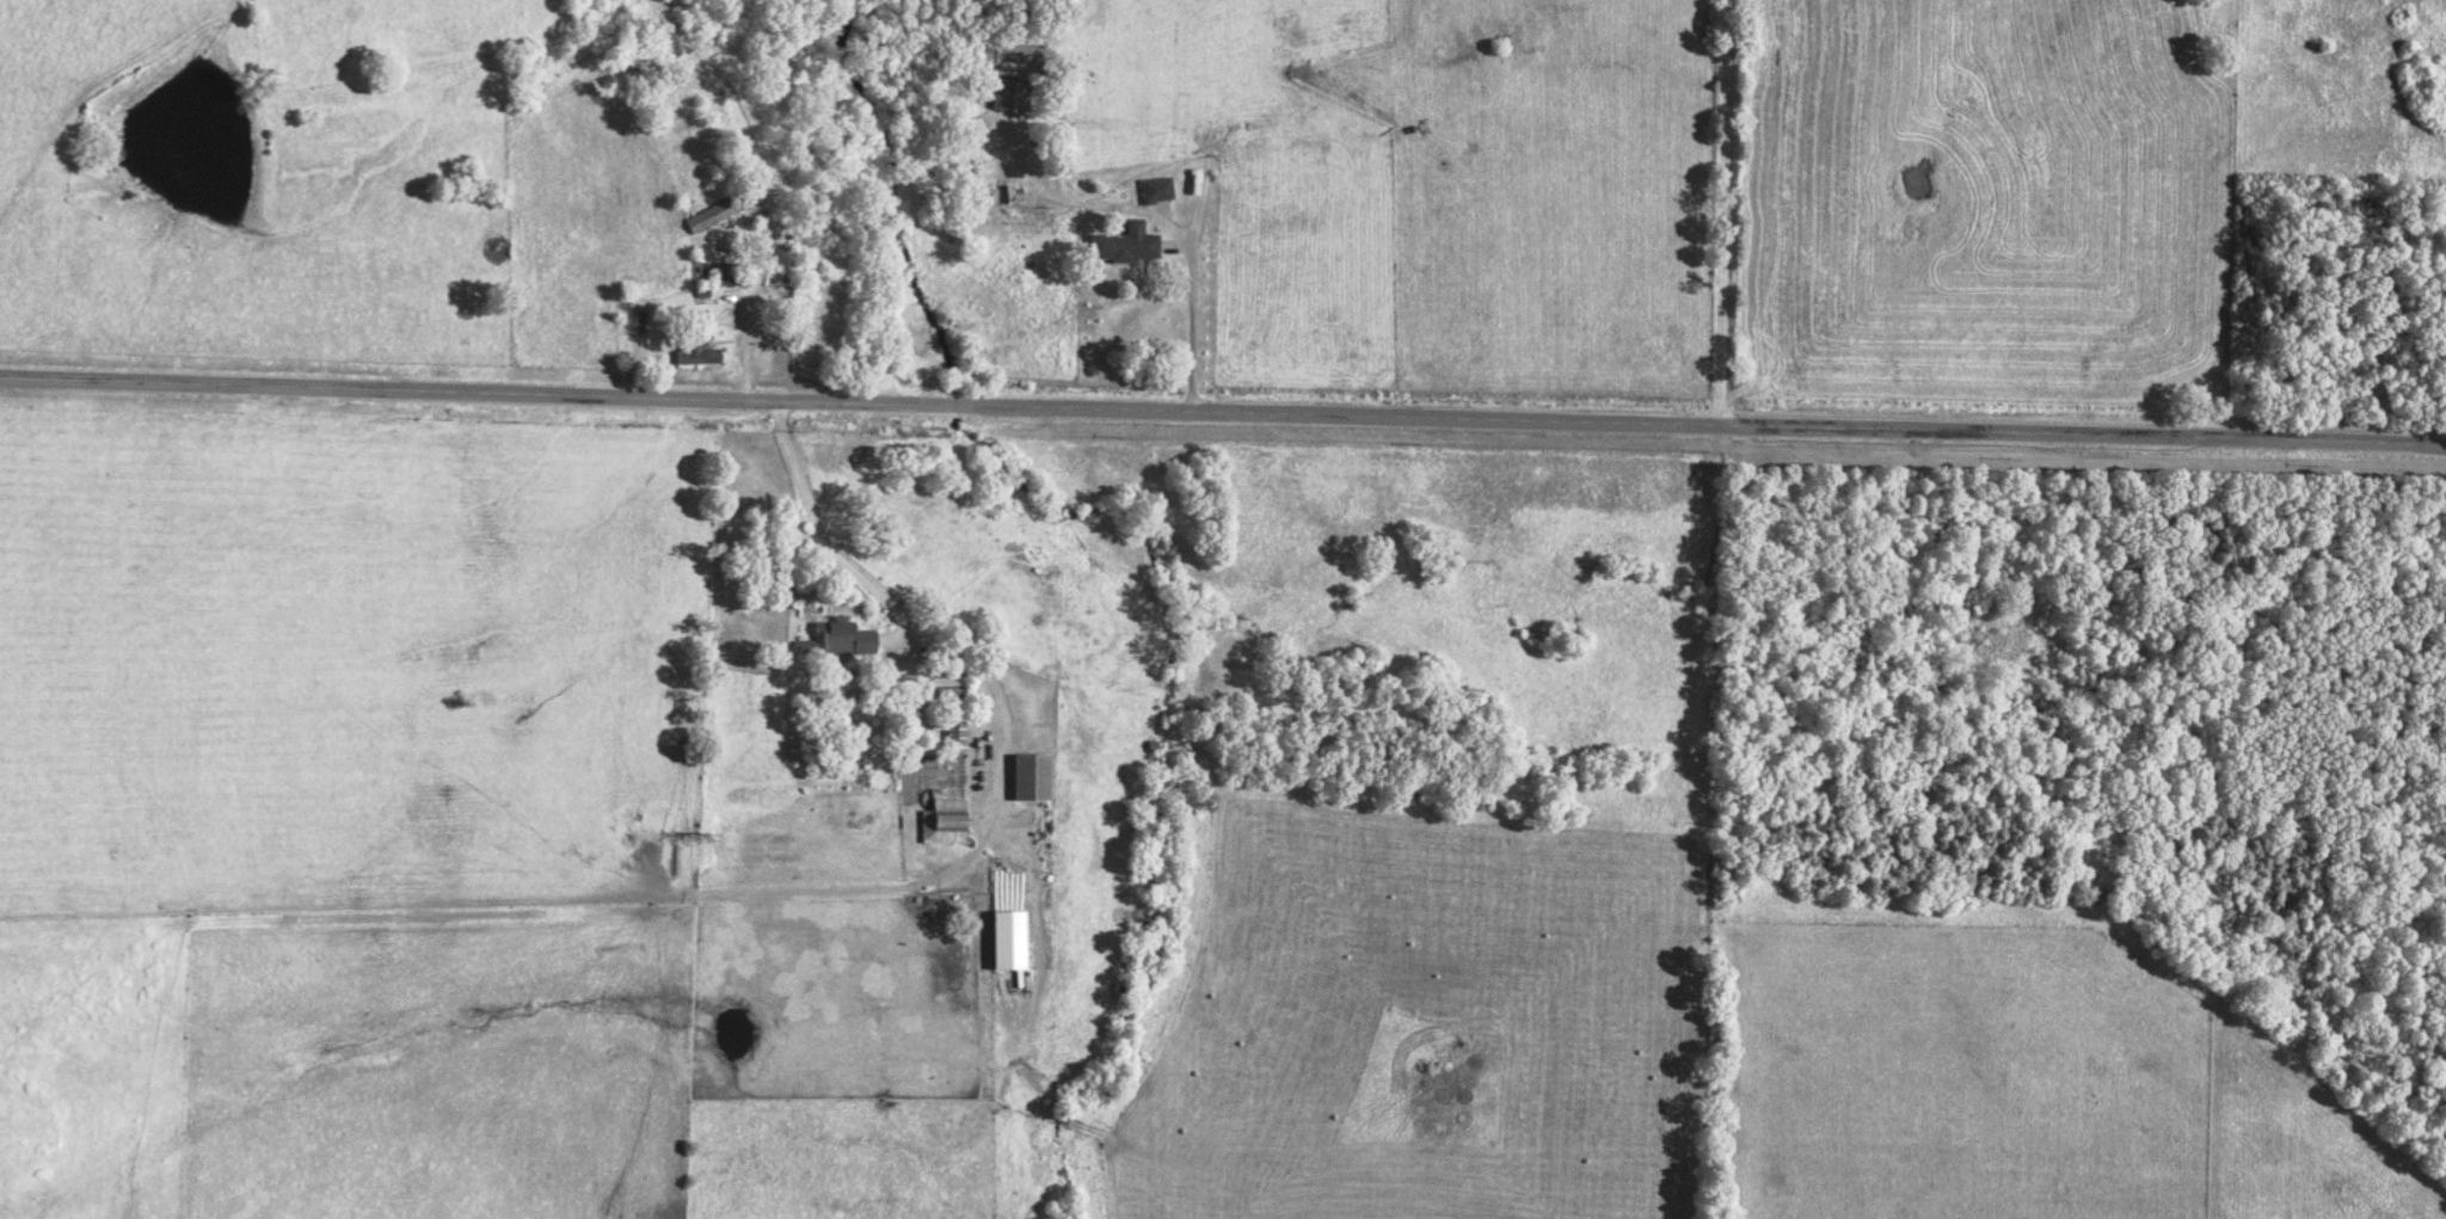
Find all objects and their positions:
road: (107, 86)
building: (1009, 94)
building: (1156, 189)
road: (1726, 213)
building: (1123, 244)
road: (1191, 303)
building: (694, 350)
road: (1223, 411)
building: (836, 638)
building: (945, 688)
building: (953, 733)
road: (1002, 764)
building: (1030, 776)
building: (942, 820)
road: (723, 886)
building: (1006, 940)

